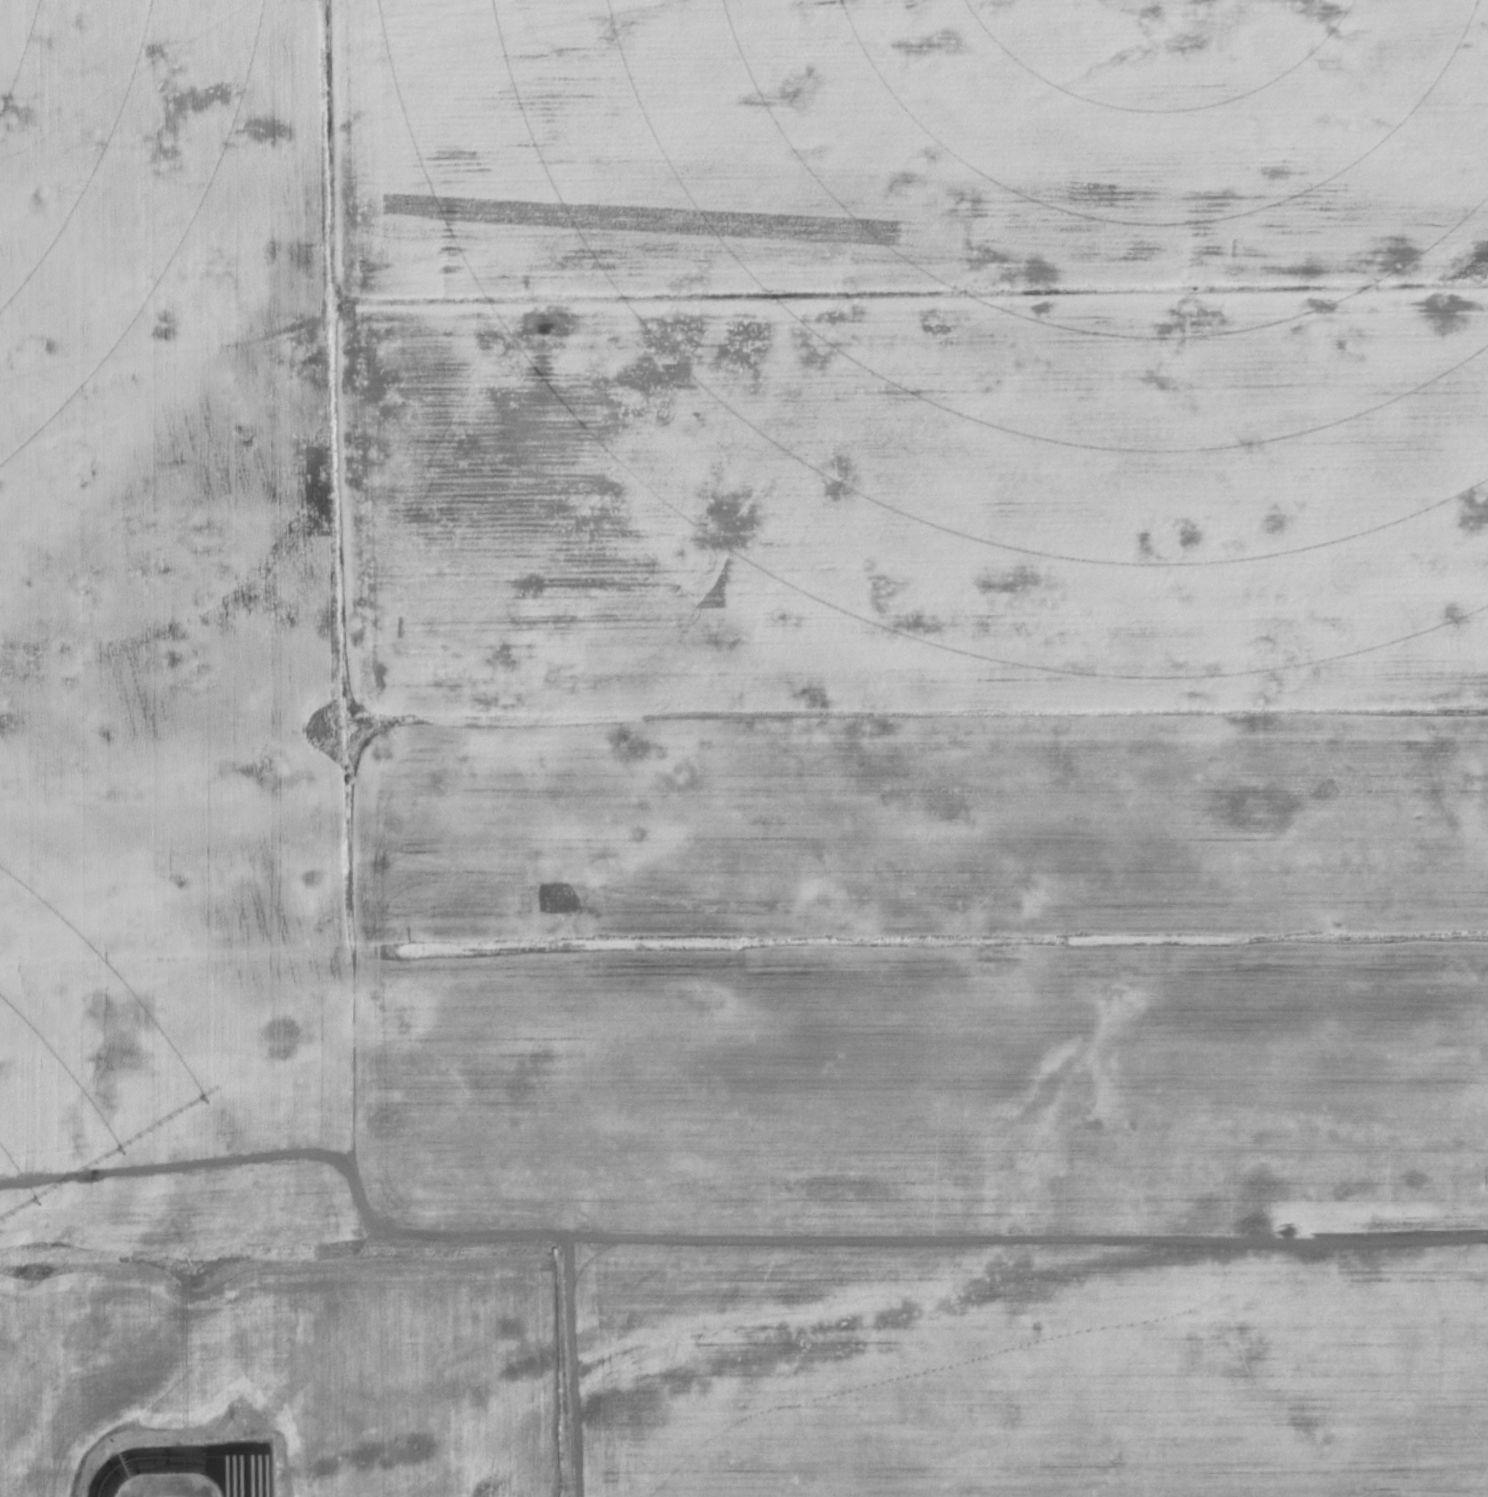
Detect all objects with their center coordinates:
airport: (282, 1375)
airport taxiway: (167, 1469)
airport runway: (245, 1472)

